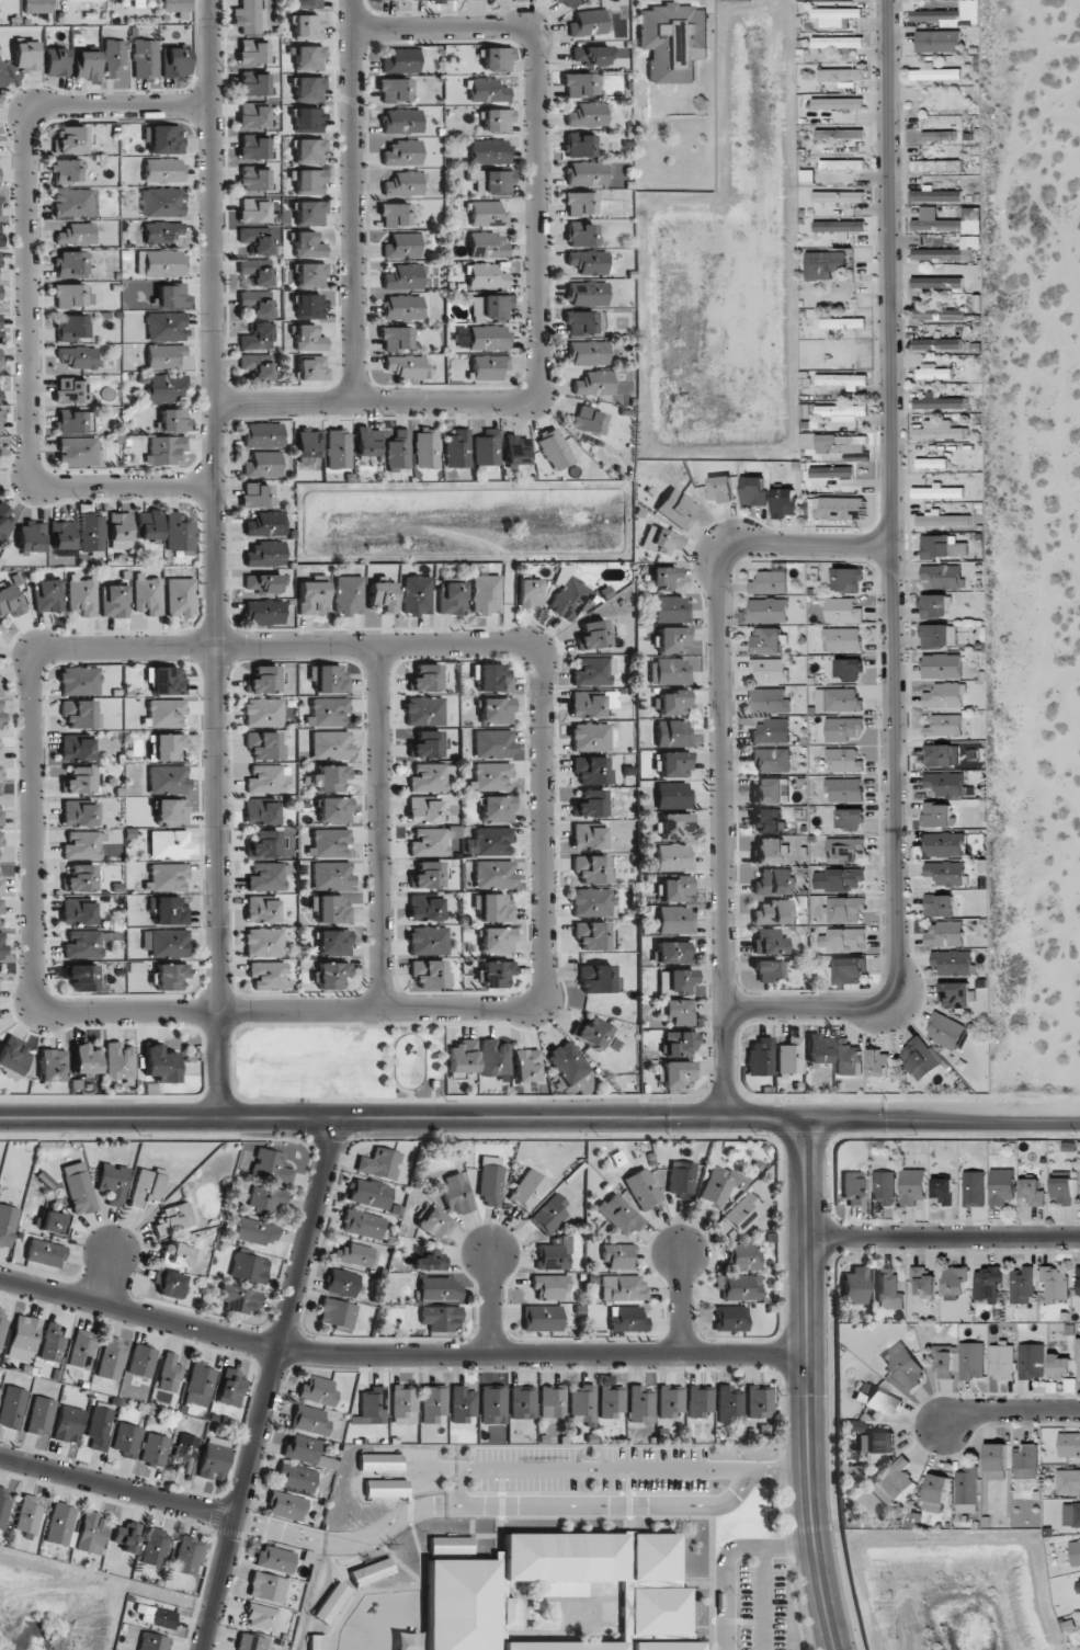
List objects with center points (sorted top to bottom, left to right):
building: (84, 0)
building: (414, 0)
building: (442, 0)
building: (565, 2)
building: (138, 3)
building: (308, 3)
building: (36, 5)
building: (177, 5)
building: (834, 15)
building: (951, 15)
building: (247, 16)
building: (588, 23)
building: (308, 27)
road: (445, 29)
building: (673, 41)
building: (937, 41)
building: (837, 42)
building: (252, 53)
building: (590, 55)
building: (27, 56)
building: (115, 57)
building: (308, 58)
building: (145, 59)
building: (497, 59)
building: (401, 60)
building: (175, 61)
building: (57, 62)
building: (87, 65)
building: (3, 71)
building: (934, 72)
building: (841, 75)
building: (252, 83)
building: (581, 84)
building: (308, 89)
building: (395, 90)
building: (488, 90)
building: (838, 103)
road: (121, 109)
building: (587, 115)
building: (252, 116)
building: (308, 120)
building: (401, 121)
building: (497, 121)
building: (839, 134)
building: (939, 135)
building: (163, 138)
building: (70, 140)
building: (581, 145)
building: (253, 148)
building: (309, 151)
building: (489, 151)
building: (401, 152)
building: (841, 164)
building: (936, 166)
building: (163, 170)
building: (67, 171)
building: (586, 173)
building: (253, 179)
building: (309, 182)
building: (496, 182)
building: (403, 184)
building: (935, 195)
building: (839, 197)
road: (353, 201)
building: (162, 202)
building: (72, 203)
building: (579, 203)
building: (254, 210)
building: (310, 213)
building: (487, 214)
road: (539, 214)
building: (395, 215)
building: (947, 220)
building: (840, 227)
building: (163, 232)
building: (76, 234)
building: (0, 235)
building: (582, 235)
building: (487, 244)
building: (308, 246)
building: (402, 246)
building: (941, 254)
building: (588, 262)
building: (161, 263)
building: (70, 264)
building: (825, 264)
building: (255, 273)
building: (311, 274)
building: (486, 276)
building: (405, 277)
building: (936, 283)
building: (0, 293)
building: (587, 294)
building: (71, 295)
building: (171, 295)
building: (258, 304)
building: (310, 307)
building: (403, 307)
building: (490, 307)
building: (937, 315)
building: (0, 321)
building: (580, 322)
building: (842, 323)
building: (71, 327)
building: (167, 327)
building: (257, 337)
building: (396, 338)
building: (488, 338)
building: (309, 339)
building: (936, 344)
building: (588, 353)
building: (78, 356)
building: (164, 356)
building: (257, 366)
building: (405, 366)
building: (0, 367)
building: (490, 367)
building: (312, 368)
building: (933, 372)
building: (842, 380)
building: (595, 383)
building: (163, 387)
road: (29, 388)
building: (70, 391)
building: (0, 397)
road: (447, 401)
road: (284, 403)
building: (940, 403)
building: (173, 419)
building: (588, 420)
building: (1, 422)
building: (71, 422)
building: (939, 431)
building: (263, 435)
building: (366, 442)
building: (307, 443)
building: (834, 443)
building: (487, 447)
building: (339, 448)
building: (427, 448)
building: (457, 448)
building: (164, 450)
building: (555, 450)
building: (398, 451)
building: (516, 451)
building: (77, 452)
building: (931, 463)
building: (263, 464)
building: (832, 471)
building: (720, 488)
building: (753, 490)
building: (937, 492)
building: (255, 494)
building: (784, 502)
building: (677, 508)
building: (840, 508)
building: (4, 519)
building: (942, 520)
building: (264, 524)
building: (149, 525)
building: (120, 531)
building: (91, 532)
building: (179, 533)
building: (62, 535)
building: (32, 537)
building: (661, 540)
building: (942, 547)
building: (264, 554)
road: (214, 559)
building: (943, 576)
building: (663, 577)
building: (848, 579)
building: (770, 582)
building: (262, 583)
road: (891, 583)
building: (530, 592)
building: (486, 594)
building: (47, 595)
building: (348, 595)
building: (382, 595)
building: (417, 595)
building: (82, 596)
building: (148, 596)
building: (180, 598)
building: (451, 599)
building: (569, 599)
building: (10, 601)
building: (114, 601)
building: (934, 606)
building: (671, 607)
building: (769, 610)
building: (843, 611)
building: (263, 612)
building: (593, 635)
building: (939, 636)
building: (672, 638)
building: (842, 639)
building: (766, 640)
building: (942, 665)
building: (848, 668)
building: (770, 670)
building: (593, 671)
building: (669, 671)
building: (425, 678)
building: (493, 678)
building: (328, 679)
building: (262, 680)
building: (79, 681)
building: (167, 681)
building: (944, 696)
building: (838, 699)
building: (770, 701)
building: (592, 703)
building: (673, 703)
building: (424, 710)
building: (496, 710)
building: (264, 712)
building: (328, 712)
building: (1, 713)
building: (166, 713)
building: (80, 714)
building: (944, 726)
building: (842, 728)
building: (771, 731)
building: (672, 732)
building: (590, 737)
building: (493, 743)
building: (330, 744)
building: (427, 744)
building: (265, 746)
building: (168, 747)
road: (544, 747)
road: (33, 748)
building: (76, 748)
road: (725, 752)
building: (941, 755)
building: (772, 759)
building: (844, 760)
building: (672, 763)
building: (591, 770)
building: (0, 773)
building: (490, 776)
building: (329, 777)
building: (430, 778)
building: (168, 780)
building: (265, 780)
building: (79, 781)
building: (945, 783)
building: (844, 789)
building: (771, 790)
building: (672, 795)
building: (590, 804)
building: (497, 808)
building: (334, 810)
building: (423, 810)
building: (171, 811)
building: (0, 813)
building: (80, 815)
building: (937, 815)
building: (851, 819)
building: (766, 820)
building: (674, 826)
road: (380, 827)
building: (587, 838)
building: (1, 840)
building: (431, 842)
building: (490, 842)
building: (329, 843)
building: (169, 844)
building: (264, 844)
building: (943, 844)
building: (82, 845)
building: (843, 849)
building: (770, 851)
building: (672, 856)
building: (592, 869)
building: (946, 873)
building: (494, 874)
building: (332, 876)
building: (427, 876)
building: (167, 877)
building: (266, 877)
building: (80, 878)
building: (838, 879)
building: (774, 881)
building: (1, 884)
building: (675, 889)
building: (591, 902)
building: (1, 906)
building: (939, 906)
building: (330, 908)
building: (423, 908)
building: (494, 908)
building: (262, 909)
building: (844, 909)
building: (167, 910)
building: (77, 912)
building: (773, 912)
building: (674, 920)
building: (945, 934)
building: (593, 935)
building: (844, 940)
building: (428, 941)
building: (498, 941)
building: (166, 942)
building: (264, 942)
building: (334, 942)
building: (769, 942)
building: (87, 943)
building: (2, 945)
building: (671, 952)
building: (953, 963)
building: (769, 970)
building: (849, 970)
building: (496, 974)
building: (332, 975)
building: (430, 975)
building: (170, 976)
building: (269, 976)
building: (81, 977)
building: (598, 979)
building: (675, 981)
building: (955, 994)
road: (378, 1008)
building: (679, 1011)
building: (947, 1032)
building: (596, 1035)
building: (678, 1044)
building: (818, 1048)
building: (12, 1055)
building: (789, 1056)
building: (463, 1057)
building: (760, 1057)
building: (494, 1058)
building: (848, 1058)
building: (919, 1058)
building: (84, 1060)
building: (118, 1061)
park: (339, 1062)
building: (877, 1062)
building: (160, 1065)
building: (569, 1065)
building: (52, 1066)
building: (527, 1066)
road: (539, 1120)
building: (379, 1163)
building: (271, 1167)
building: (681, 1179)
building: (490, 1180)
building: (113, 1183)
building: (147, 1186)
building: (719, 1186)
building: (1001, 1186)
building: (884, 1187)
building: (912, 1187)
building: (79, 1188)
building: (643, 1188)
building: (854, 1188)
building: (974, 1188)
building: (943, 1190)
building: (527, 1191)
building: (1061, 1191)
building: (1032, 1192)
building: (370, 1193)
building: (455, 1194)
building: (265, 1198)
building: (741, 1214)
building: (549, 1215)
building: (621, 1215)
building: (173, 1219)
building: (54, 1222)
building: (434, 1222)
building: (362, 1224)
building: (7, 1225)
building: (257, 1231)
road: (941, 1241)
building: (45, 1253)
building: (555, 1254)
building: (177, 1255)
building: (356, 1255)
building: (618, 1256)
building: (743, 1256)
building: (431, 1260)
building: (249, 1267)
road: (109, 1274)
building: (1079, 1279)
building: (922, 1282)
building: (955, 1282)
building: (342, 1283)
building: (169, 1284)
building: (987, 1284)
building: (1055, 1284)
building: (854, 1286)
building: (1021, 1286)
building: (552, 1287)
building: (622, 1287)
building: (739, 1287)
building: (439, 1288)
building: (888, 1290)
building: (239, 1298)
road: (489, 1305)
road: (680, 1305)
building: (337, 1312)
building: (440, 1317)
building: (542, 1318)
building: (731, 1318)
building: (626, 1319)
building: (2, 1325)
building: (23, 1338)
building: (52, 1343)
building: (81, 1349)
building: (111, 1357)
road: (396, 1357)
building: (1078, 1358)
building: (141, 1361)
building: (971, 1361)
building: (1032, 1361)
building: (945, 1362)
building: (1001, 1362)
building: (1060, 1365)
building: (907, 1369)
building: (169, 1374)
building: (200, 1384)
building: (230, 1384)
road: (268, 1384)
road: (803, 1387)
building: (318, 1390)
building: (610, 1398)
building: (553, 1401)
building: (670, 1401)
building: (700, 1401)
building: (883, 1401)
building: (759, 1402)
building: (433, 1403)
building: (463, 1403)
building: (582, 1403)
building: (403, 1404)
building: (493, 1404)
building: (640, 1404)
building: (729, 1404)
building: (12, 1407)
building: (371, 1407)
road: (1008, 1414)
building: (41, 1416)
building: (309, 1420)
building: (68, 1424)
building: (99, 1430)
building: (126, 1440)
building: (876, 1443)
building: (1069, 1445)
building: (155, 1449)
building: (185, 1453)
building: (214, 1458)
building: (996, 1458)
building: (1025, 1461)
building: (379, 1463)
road: (586, 1469)
building: (296, 1478)
building: (1068, 1481)
building: (891, 1482)
building: (386, 1488)
road: (116, 1489)
building: (967, 1490)
building: (935, 1493)
building: (3, 1504)
building: (286, 1505)
road: (523, 1506)
building: (1071, 1515)
building: (29, 1516)
building: (61, 1525)
building: (91, 1533)
building: (127, 1537)
building: (451, 1545)
building: (155, 1547)
building: (1075, 1552)
building: (186, 1556)
building: (562, 1557)
building: (653, 1557)
building: (275, 1559)
road: (726, 1560)
building: (372, 1571)
building: (266, 1588)
building: (1078, 1588)
park: (946, 1589)
road: (765, 1598)
building: (331, 1603)
building: (651, 1603)
building: (465, 1604)
building: (156, 1616)
building: (261, 1617)
building: (154, 1641)
building: (251, 1642)
building: (317, 1642)
building: (564, 1646)
building: (664, 1646)

